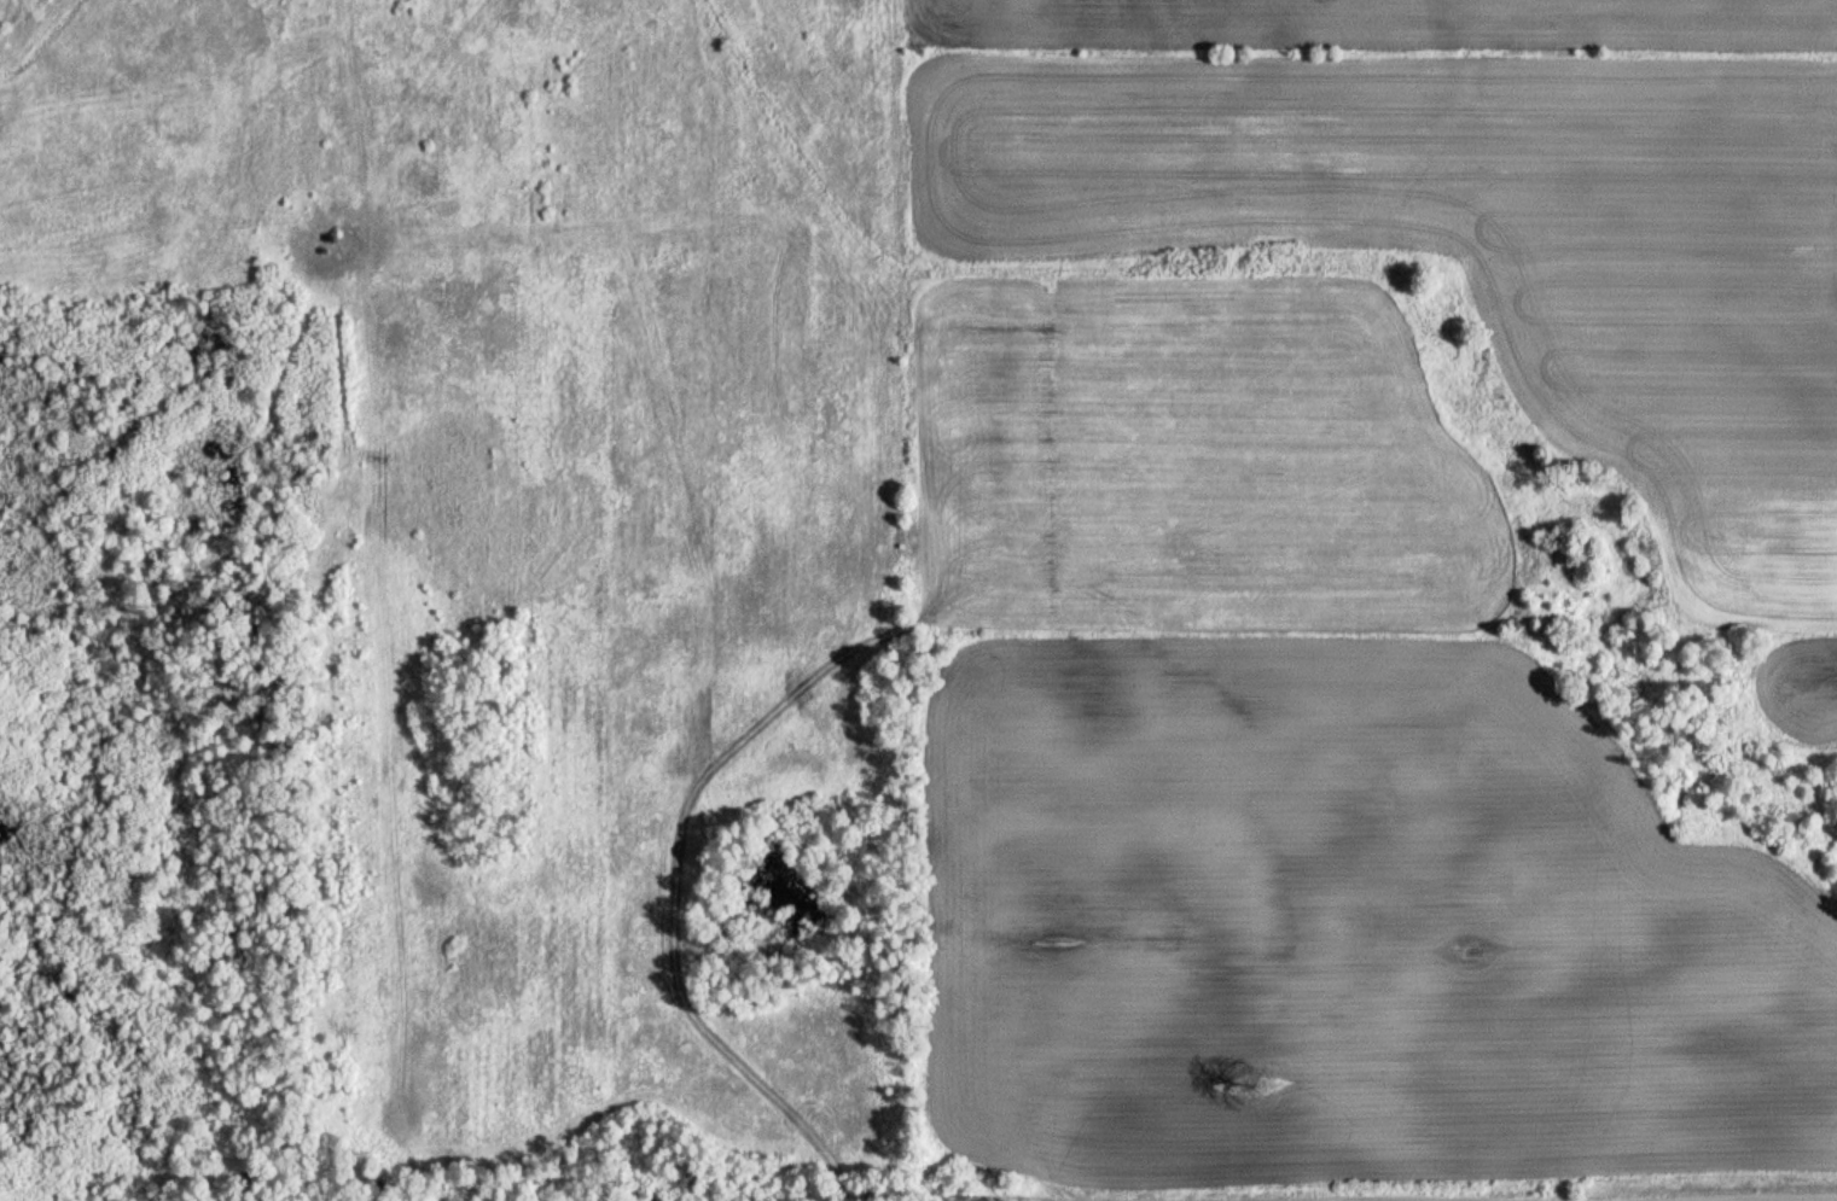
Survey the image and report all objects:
road: (1738, 1196)
road: (1205, 1200)

